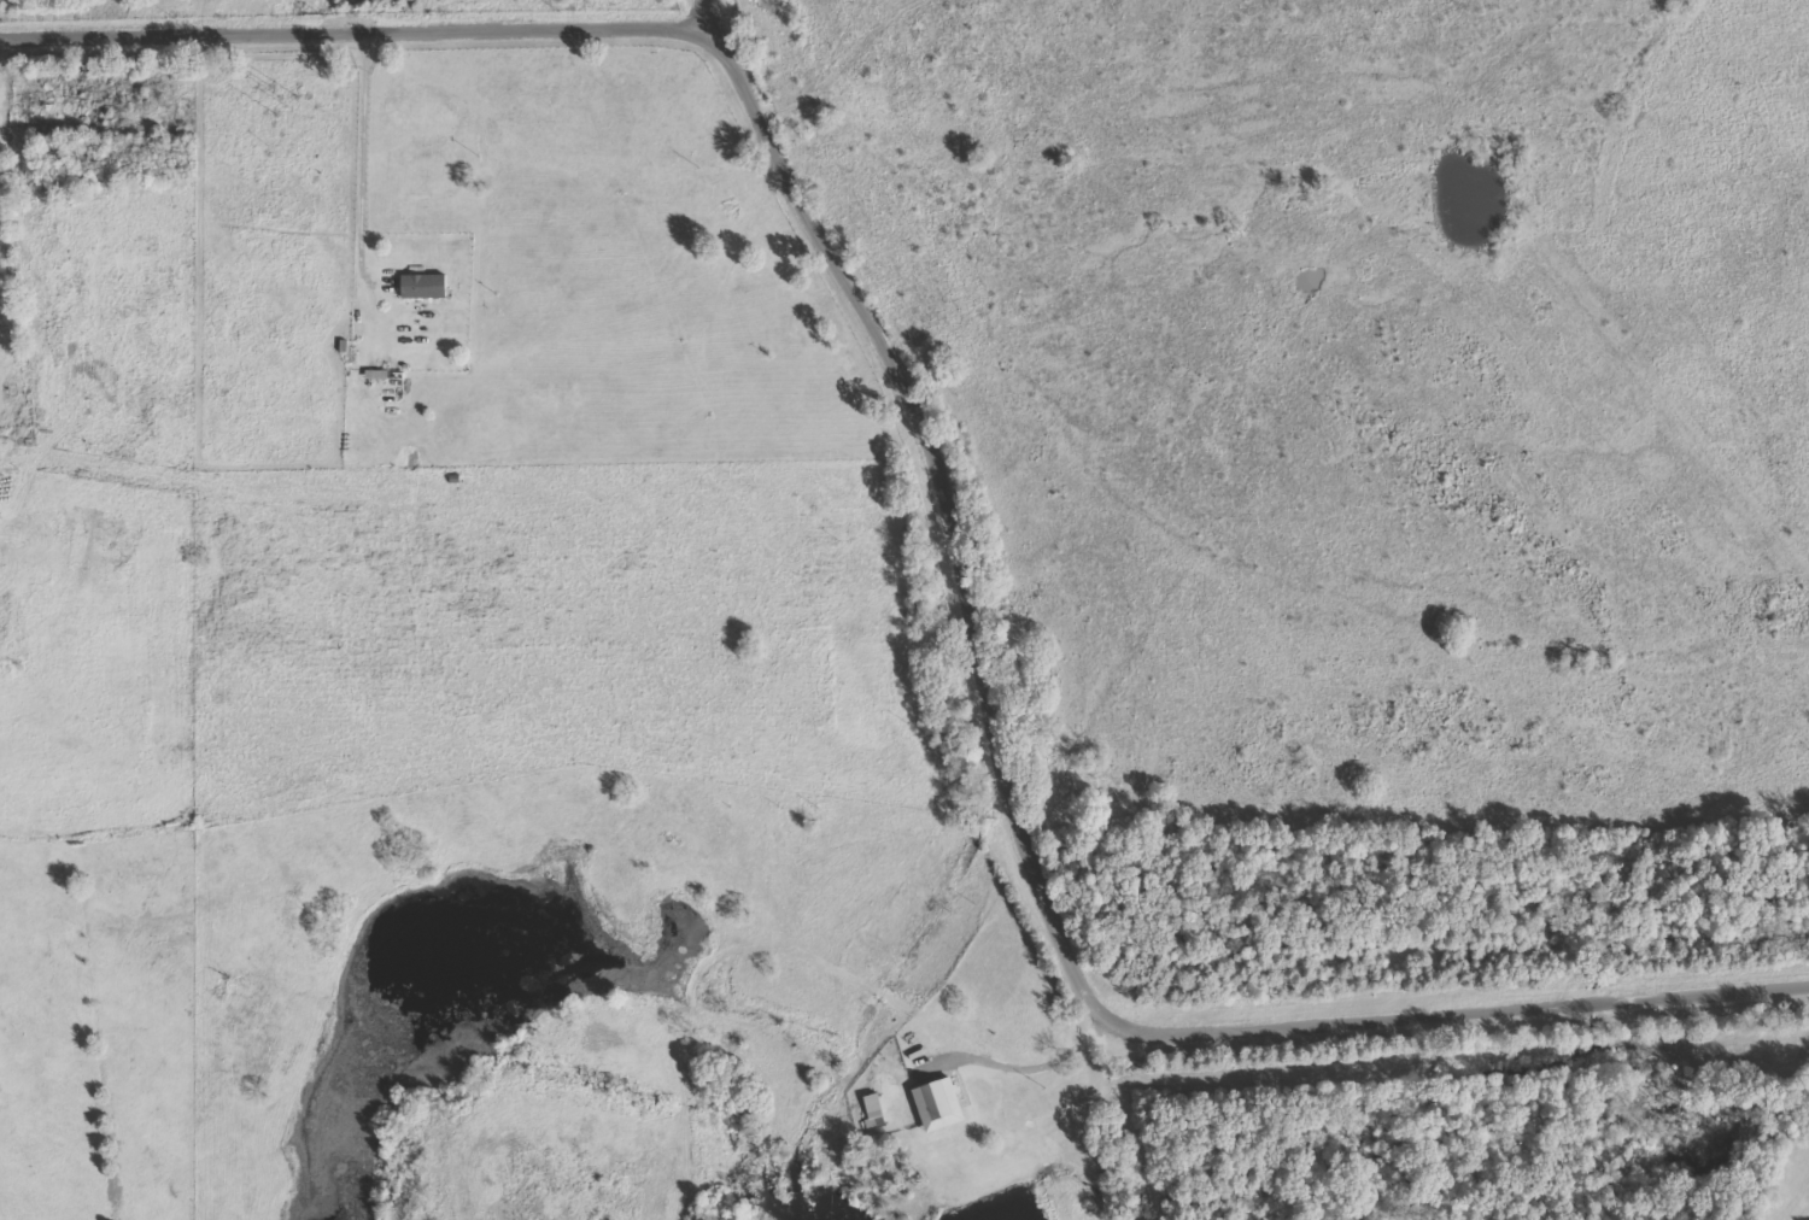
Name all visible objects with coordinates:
road: (712, 8)
road: (412, 18)
building: (429, 288)
road: (967, 563)
road: (1485, 1010)
building: (937, 1105)

